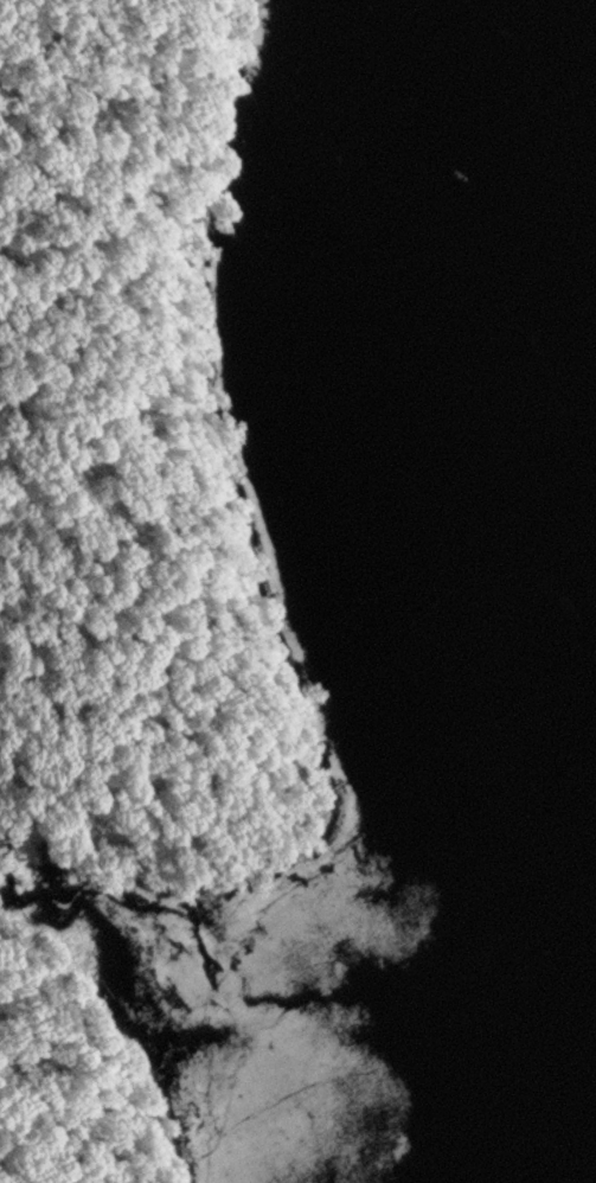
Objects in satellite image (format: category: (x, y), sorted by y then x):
road: (79, 198)

